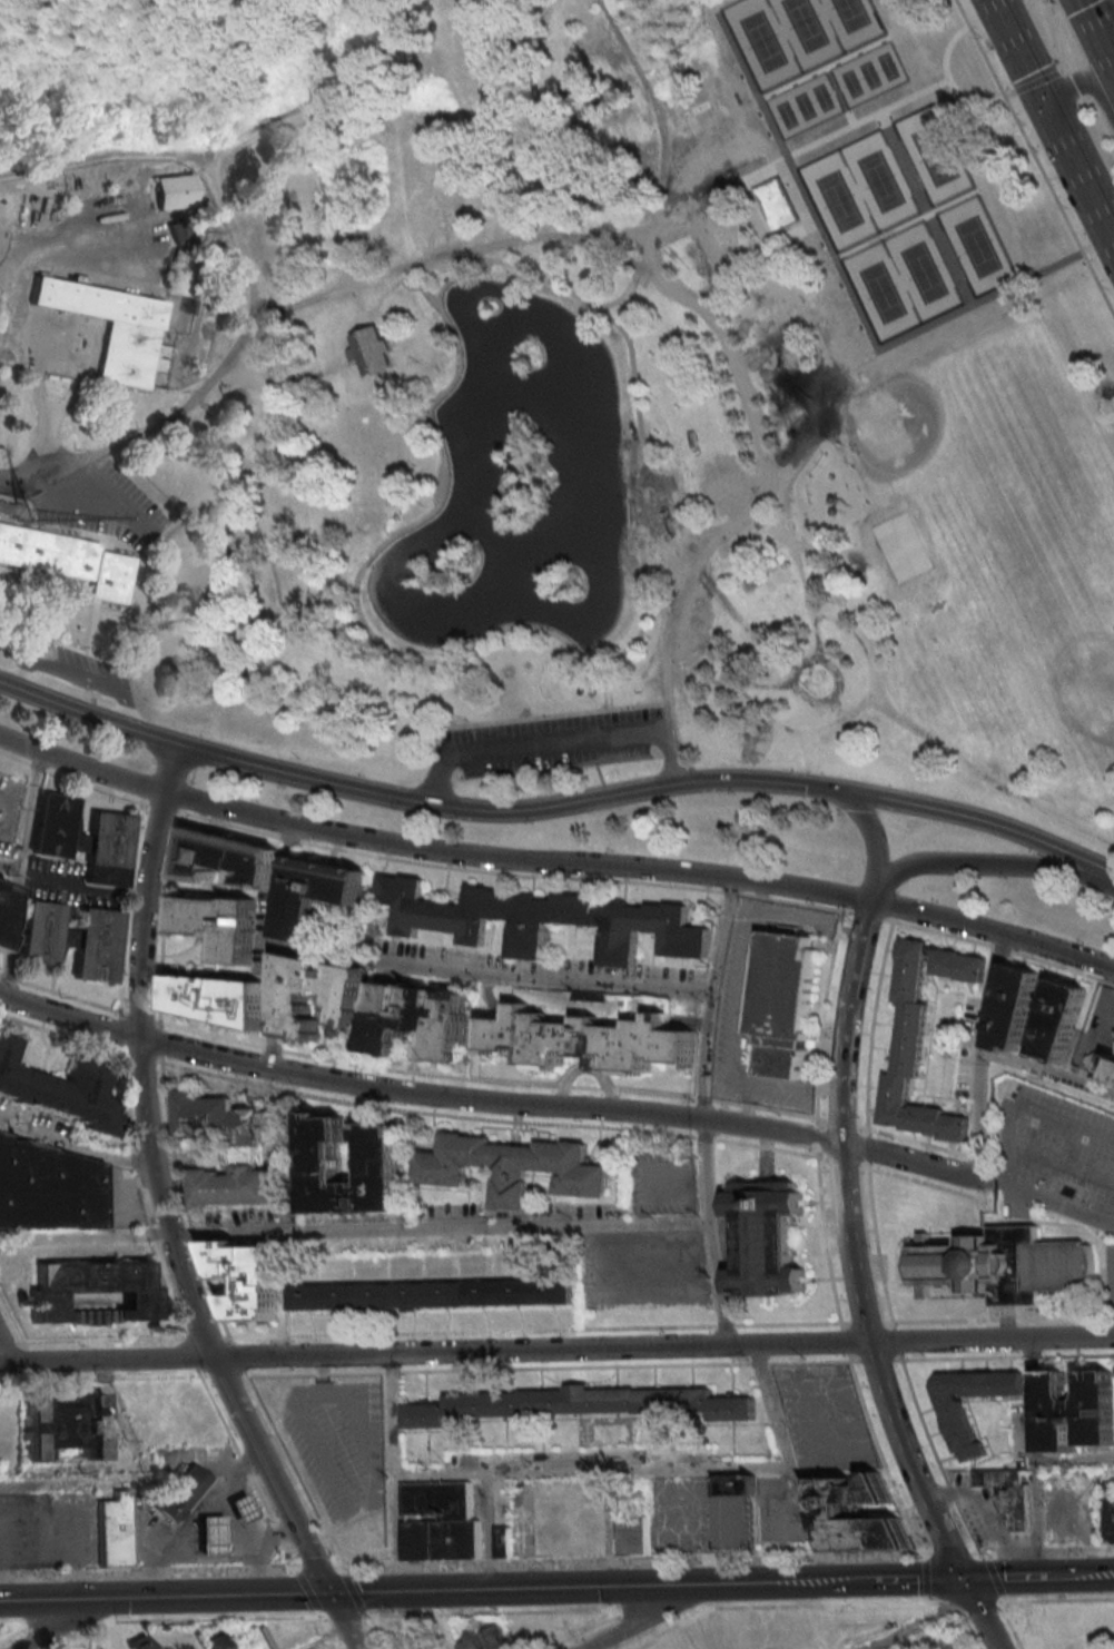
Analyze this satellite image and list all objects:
park: (849, 13)
park: (804, 23)
road: (1097, 33)
road: (1054, 34)
park: (761, 39)
road: (987, 47)
park: (887, 65)
road: (824, 67)
park: (868, 73)
road: (947, 79)
park: (850, 81)
road: (1035, 81)
road: (1088, 86)
road: (1007, 93)
road: (838, 95)
park: (821, 96)
traffic signals: (1043, 99)
park: (804, 105)
building: (689, 106)
park: (785, 113)
road: (1053, 121)
road: (698, 134)
road: (230, 141)
park: (933, 154)
road: (1034, 159)
road: (664, 166)
road: (763, 166)
road: (798, 179)
park: (878, 179)
building: (172, 194)
park: (838, 200)
building: (317, 204)
building: (776, 206)
road: (925, 207)
road: (906, 223)
road: (795, 230)
park: (976, 245)
road: (708, 246)
park: (921, 270)
road: (787, 274)
road: (401, 275)
road: (457, 276)
road: (755, 276)
road: (401, 280)
park: (880, 289)
road: (612, 302)
road: (698, 306)
lighthouse: (489, 308)
building: (111, 325)
road: (898, 339)
building: (367, 353)
road: (214, 378)
road: (382, 378)
road: (69, 397)
road: (42, 411)
park: (564, 433)
park: (963, 451)
road: (654, 474)
road: (673, 487)
road: (435, 493)
parking lot: (92, 498)
road: (245, 505)
road: (383, 527)
road: (648, 534)
road: (672, 539)
building: (67, 560)
road: (338, 612)
road: (815, 634)
road: (571, 648)
road: (91, 654)
road: (773, 655)
road: (89, 656)
road: (79, 674)
road: (736, 680)
road: (603, 684)
road: (792, 685)
road: (753, 687)
road: (827, 698)
road: (829, 701)
road: (861, 701)
road: (887, 707)
road: (554, 714)
road: (555, 740)
parking lot: (553, 742)
road: (72, 777)
road: (799, 779)
road: (343, 786)
road: (554, 792)
road: (910, 804)
road: (159, 806)
road: (26, 810)
parking lot: (9, 812)
road: (556, 813)
building: (51, 828)
road: (869, 831)
building: (76, 833)
building: (106, 851)
building: (224, 861)
road: (554, 862)
road: (444, 866)
road: (973, 866)
road: (8, 867)
road: (729, 891)
building: (314, 895)
building: (1, 900)
road: (789, 901)
road: (126, 908)
road: (865, 915)
road: (160, 920)
building: (540, 921)
building: (216, 929)
road: (10, 932)
building: (38, 936)
building: (63, 941)
road: (267, 946)
building: (95, 948)
road: (1002, 948)
road: (540, 976)
road: (989, 993)
road: (708, 998)
building: (217, 1001)
building: (783, 1001)
building: (289, 1003)
building: (1012, 1007)
road: (820, 1013)
building: (1056, 1018)
road: (845, 1021)
building: (416, 1023)
parking lot: (1096, 1026)
road: (869, 1027)
road: (120, 1030)
road: (62, 1036)
building: (588, 1039)
building: (918, 1040)
road: (159, 1043)
road: (986, 1053)
road: (141, 1058)
building: (1100, 1064)
road: (402, 1069)
building: (61, 1092)
road: (414, 1093)
road: (1016, 1099)
road: (487, 1120)
road: (839, 1122)
road: (815, 1135)
road: (915, 1142)
parking lot: (1054, 1142)
road: (76, 1143)
building: (228, 1148)
road: (865, 1148)
road: (839, 1162)
road: (918, 1163)
road: (1059, 1165)
building: (319, 1167)
building: (509, 1169)
road: (703, 1171)
road: (156, 1178)
road: (914, 1179)
parking lot: (659, 1183)
building: (48, 1188)
road: (139, 1195)
road: (181, 1204)
road: (1055, 1205)
road: (414, 1226)
building: (766, 1241)
road: (824, 1241)
road: (847, 1242)
road: (875, 1244)
building: (959, 1263)
building: (1038, 1264)
parking lot: (642, 1272)
building: (246, 1280)
building: (93, 1291)
building: (430, 1296)
road: (11, 1317)
road: (947, 1320)
road: (862, 1323)
road: (1064, 1323)
road: (531, 1331)
road: (198, 1339)
road: (992, 1339)
road: (99, 1341)
road: (841, 1341)
road: (893, 1341)
road: (9, 1342)
road: (6, 1350)
road: (434, 1351)
road: (188, 1354)
road: (1002, 1356)
road: (234, 1360)
road: (868, 1360)
road: (544, 1367)
road: (221, 1375)
road: (100, 1379)
building: (573, 1403)
building: (1076, 1411)
parking lot: (822, 1416)
building: (955, 1418)
building: (63, 1425)
parking lot: (338, 1445)
road: (880, 1454)
road: (931, 1454)
road: (1033, 1457)
road: (1074, 1458)
road: (907, 1461)
road: (790, 1462)
road: (252, 1468)
road: (593, 1469)
road: (290, 1471)
road: (394, 1472)
road: (150, 1484)
building: (188, 1492)
building: (1006, 1494)
road: (37, 1499)
building: (244, 1507)
building: (733, 1511)
building: (829, 1514)
building: (1107, 1519)
building: (443, 1522)
building: (363, 1527)
building: (119, 1530)
road: (487, 1531)
building: (215, 1534)
building: (637, 1534)
building: (506, 1541)
road: (1041, 1549)
road: (950, 1551)
road: (637, 1560)
road: (321, 1569)
road: (150, 1572)
road: (1075, 1574)
road: (998, 1578)
road: (894, 1579)
traffic signals: (960, 1579)
road: (771, 1583)
road: (418, 1591)
traffic signals: (329, 1593)
road: (1055, 1598)
road: (101, 1599)
road: (973, 1599)
road: (40, 1600)
road: (820, 1603)
road: (655, 1607)
road: (338, 1612)
road: (492, 1612)
road: (978, 1613)
road: (341, 1615)
road: (650, 1616)
road: (211, 1618)
road: (66, 1621)
road: (16, 1622)
road: (71, 1623)
road: (923, 1623)
road: (16, 1630)
road: (95, 1635)
building: (213, 1639)
building: (481, 1639)
road: (329, 1640)
road: (352, 1640)
building: (138, 1642)
building: (101, 1648)

